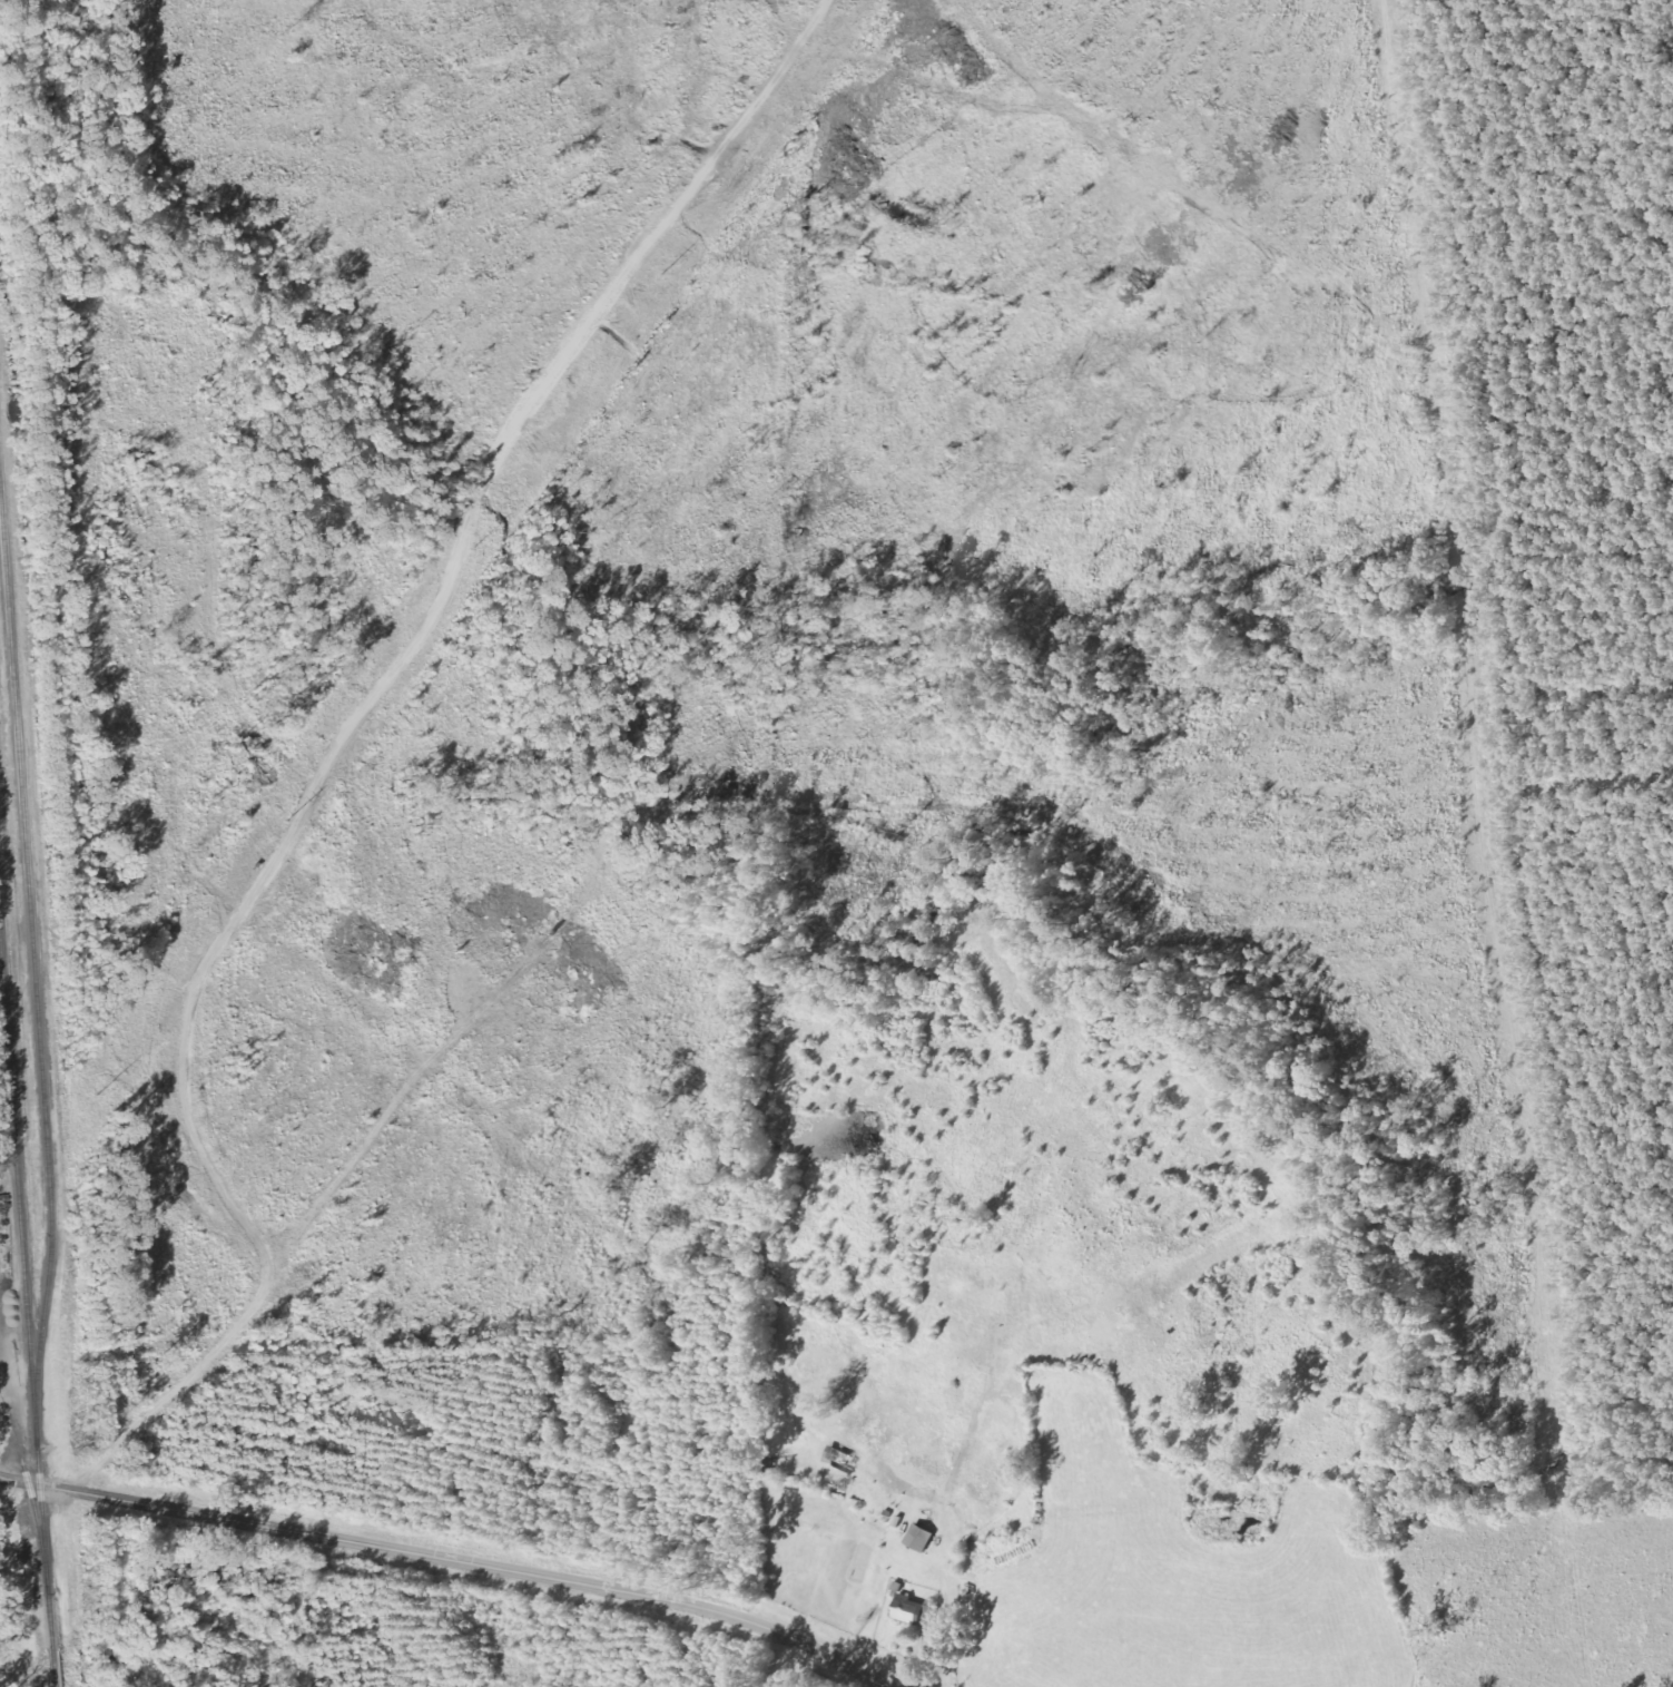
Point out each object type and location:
railway: (32, 959)
railway: (28, 1326)
building: (838, 1459)
railway: (26, 1478)
building: (916, 1538)
road: (447, 1556)
building: (905, 1609)

